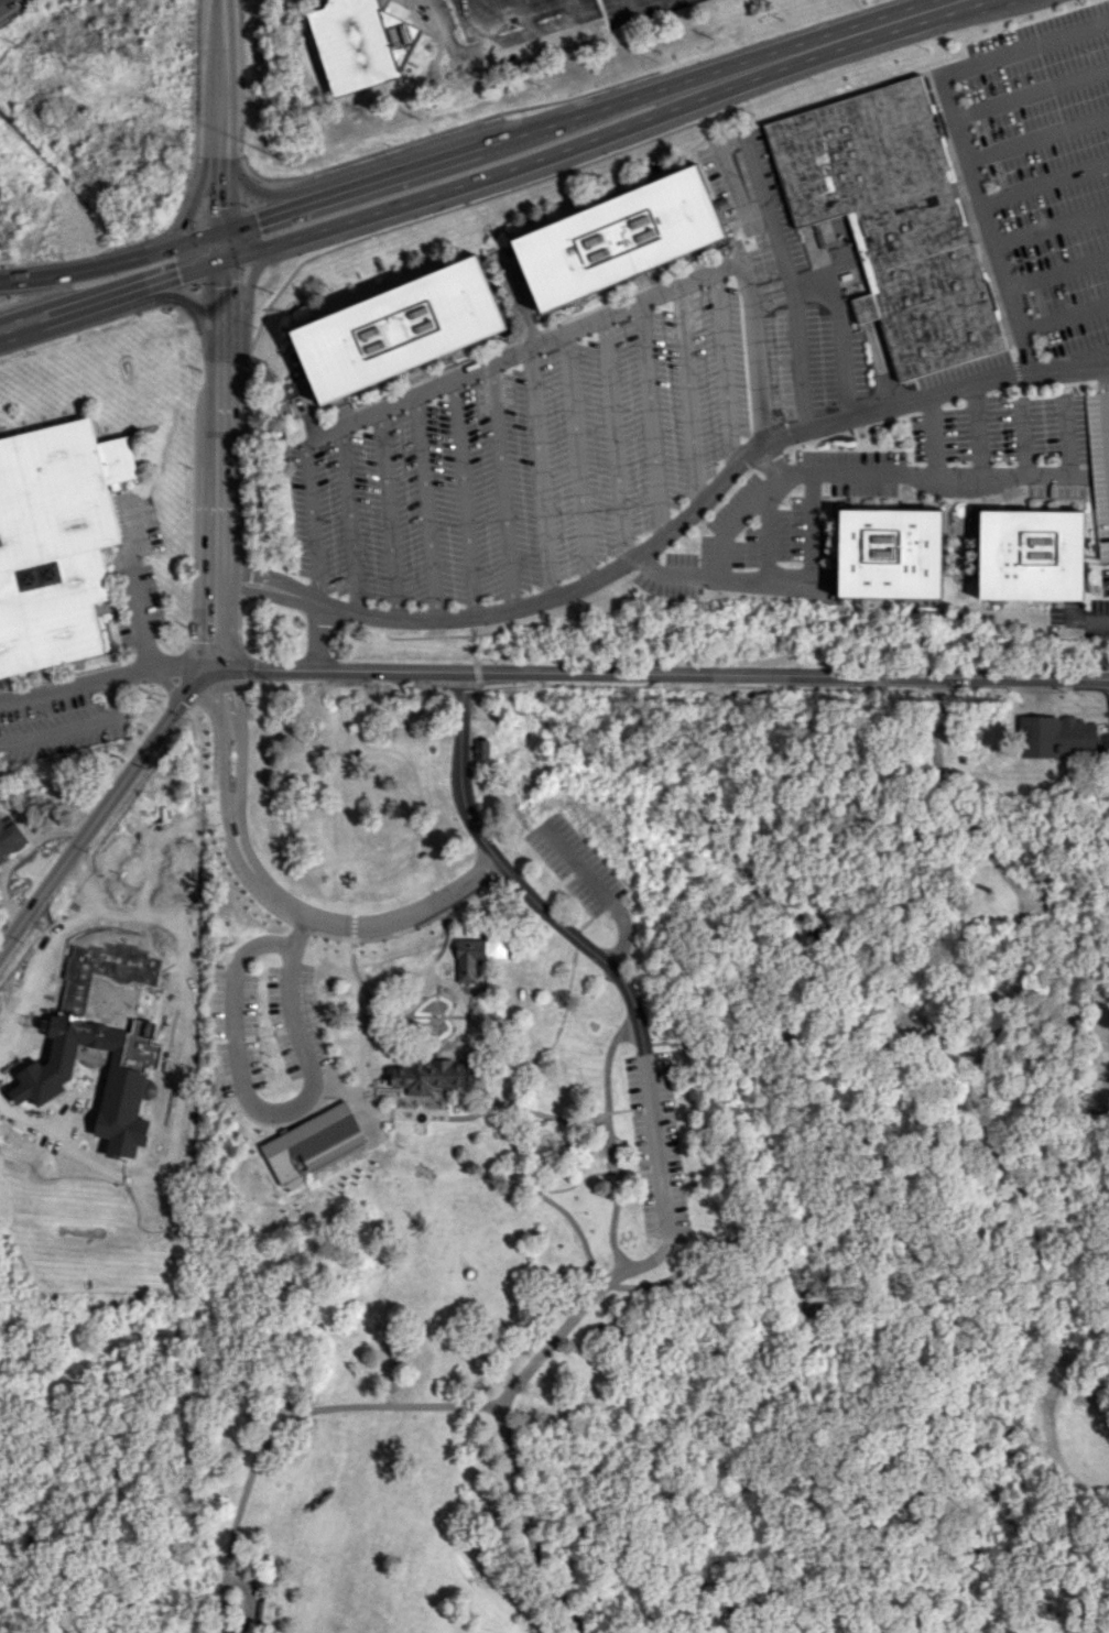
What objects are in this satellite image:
parking lot: (405, 0)
road: (673, 1)
parking lot: (634, 10)
road: (644, 10)
road: (525, 14)
road: (479, 21)
parking lot: (503, 21)
road: (885, 23)
road: (494, 40)
building: (362, 44)
road: (1024, 48)
road: (221, 74)
road: (1031, 92)
road: (515, 134)
road: (1039, 139)
road: (717, 149)
road: (221, 154)
road: (520, 164)
parking lot: (1050, 167)
road: (1045, 183)
road: (259, 194)
road: (194, 200)
building: (895, 221)
road: (1052, 227)
traffic signals: (221, 230)
building: (619, 238)
road: (221, 250)
road: (999, 260)
traffic signals: (221, 261)
road: (111, 262)
road: (1058, 272)
road: (246, 292)
road: (110, 296)
road: (183, 300)
road: (837, 313)
road: (796, 315)
road: (1065, 317)
building: (402, 329)
road: (518, 350)
road: (755, 352)
road: (1072, 363)
road: (726, 370)
road: (1100, 385)
road: (688, 396)
road: (651, 420)
road: (978, 432)
road: (933, 437)
road: (1021, 437)
road: (616, 439)
parking lot: (528, 453)
road: (578, 458)
road: (772, 460)
road: (540, 473)
road: (900, 473)
road: (502, 488)
road: (465, 498)
road: (217, 504)
road: (425, 508)
road: (387, 515)
road: (346, 521)
road: (309, 523)
road: (812, 524)
road: (766, 534)
building: (55, 538)
building: (891, 553)
building: (1032, 555)
road: (639, 556)
road: (729, 576)
road: (130, 585)
road: (1089, 614)
road: (315, 635)
road: (472, 646)
road: (661, 673)
road: (106, 677)
traffic signals: (1040, 677)
road: (165, 684)
road: (1040, 694)
road: (79, 725)
building: (1057, 737)
building: (481, 749)
road: (954, 802)
road: (104, 806)
building: (10, 839)
parking lot: (574, 867)
road: (514, 882)
road: (146, 886)
road: (601, 896)
road: (278, 897)
road: (273, 913)
building: (79, 918)
road: (437, 945)
road: (736, 957)
building: (469, 959)
road: (621, 966)
road: (453, 972)
road: (356, 975)
road: (406, 976)
road: (700, 982)
road: (77, 986)
road: (370, 1005)
road: (193, 1011)
road: (561, 1021)
road: (303, 1023)
parking lot: (262, 1025)
road: (742, 1038)
road: (460, 1044)
road: (481, 1062)
building: (138, 1063)
building: (434, 1074)
road: (357, 1089)
road: (974, 1101)
road: (496, 1102)
road: (416, 1111)
road: (535, 1111)
road: (268, 1112)
fountain: (421, 1117)
road: (294, 1120)
building: (313, 1143)
road: (607, 1143)
parking lot: (655, 1145)
road: (600, 1147)
road: (655, 1147)
road: (573, 1185)
park: (588, 1186)
building: (152, 1191)
road: (622, 1283)
road: (802, 1286)
road: (398, 1405)
road: (219, 1459)
road: (184, 1460)
road: (528, 1523)
road: (633, 1559)
road: (947, 1598)
road: (243, 1604)

